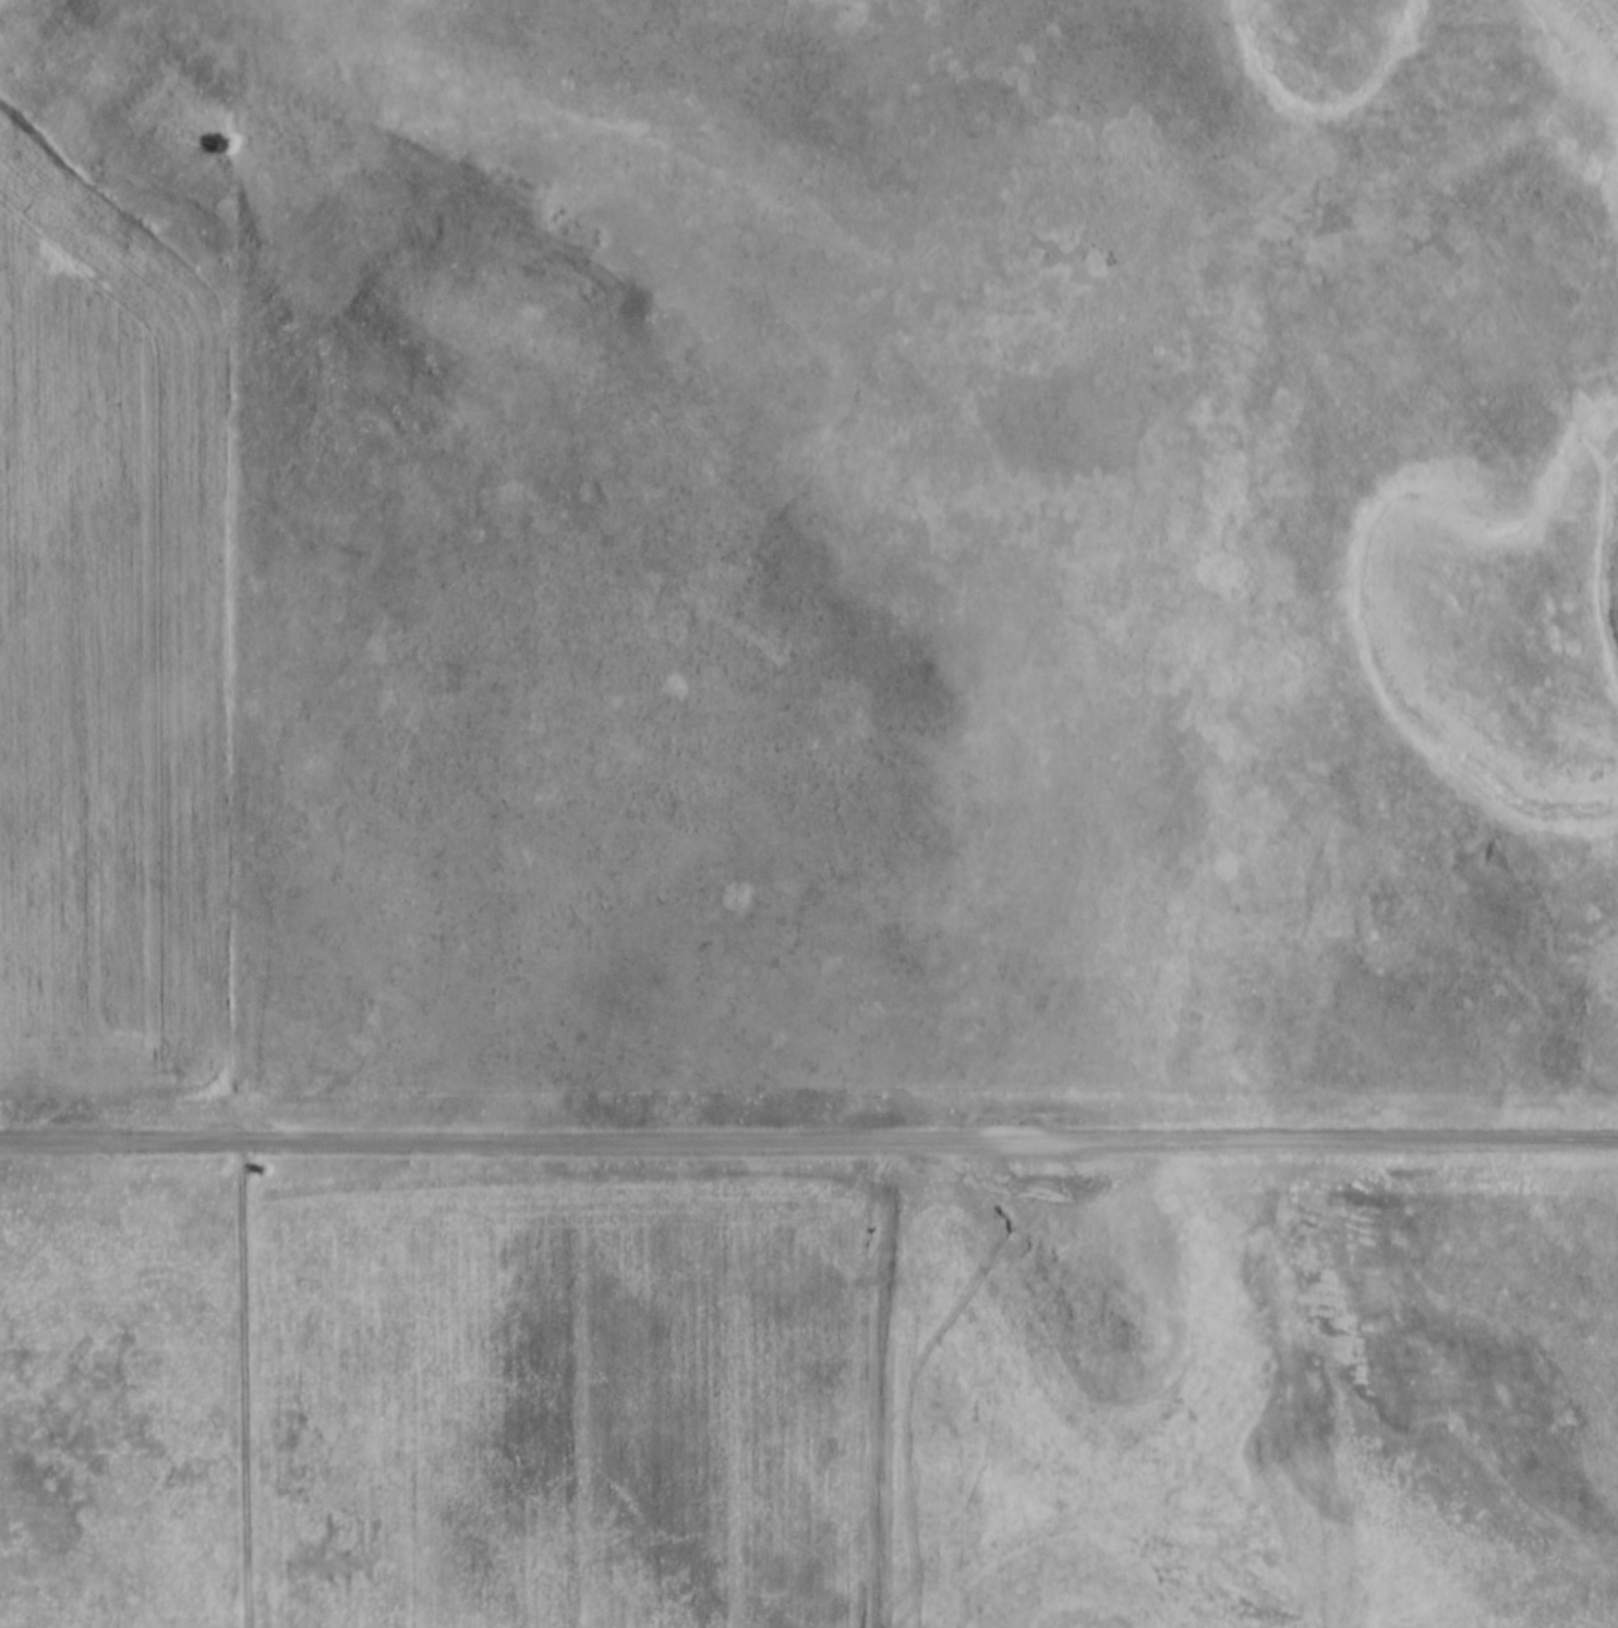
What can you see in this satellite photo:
road: (808, 1139)
road: (247, 1383)

